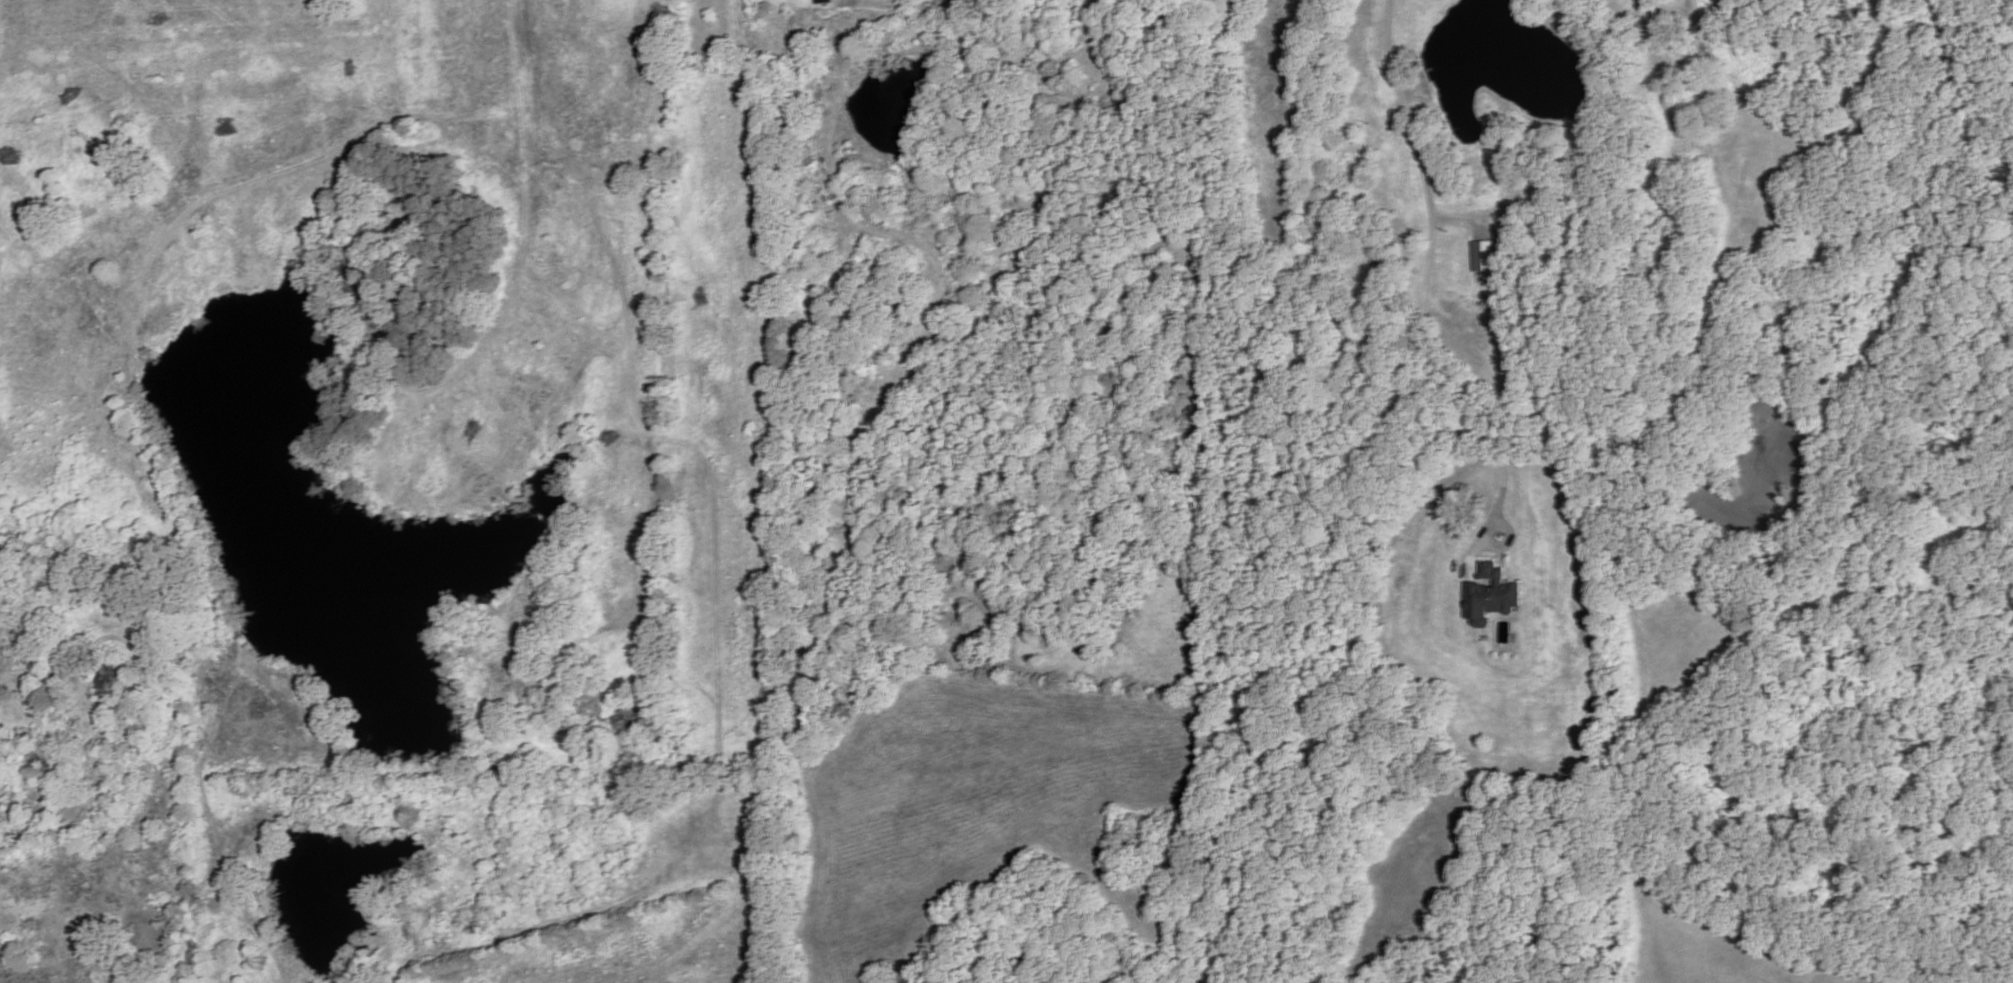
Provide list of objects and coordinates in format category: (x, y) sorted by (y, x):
building: (823, 1)
road: (1649, 3)
road: (529, 42)
road: (1418, 132)
road: (1271, 197)
building: (1484, 256)
road: (1444, 367)
building: (1491, 594)
building: (108, 682)
building: (69, 781)

